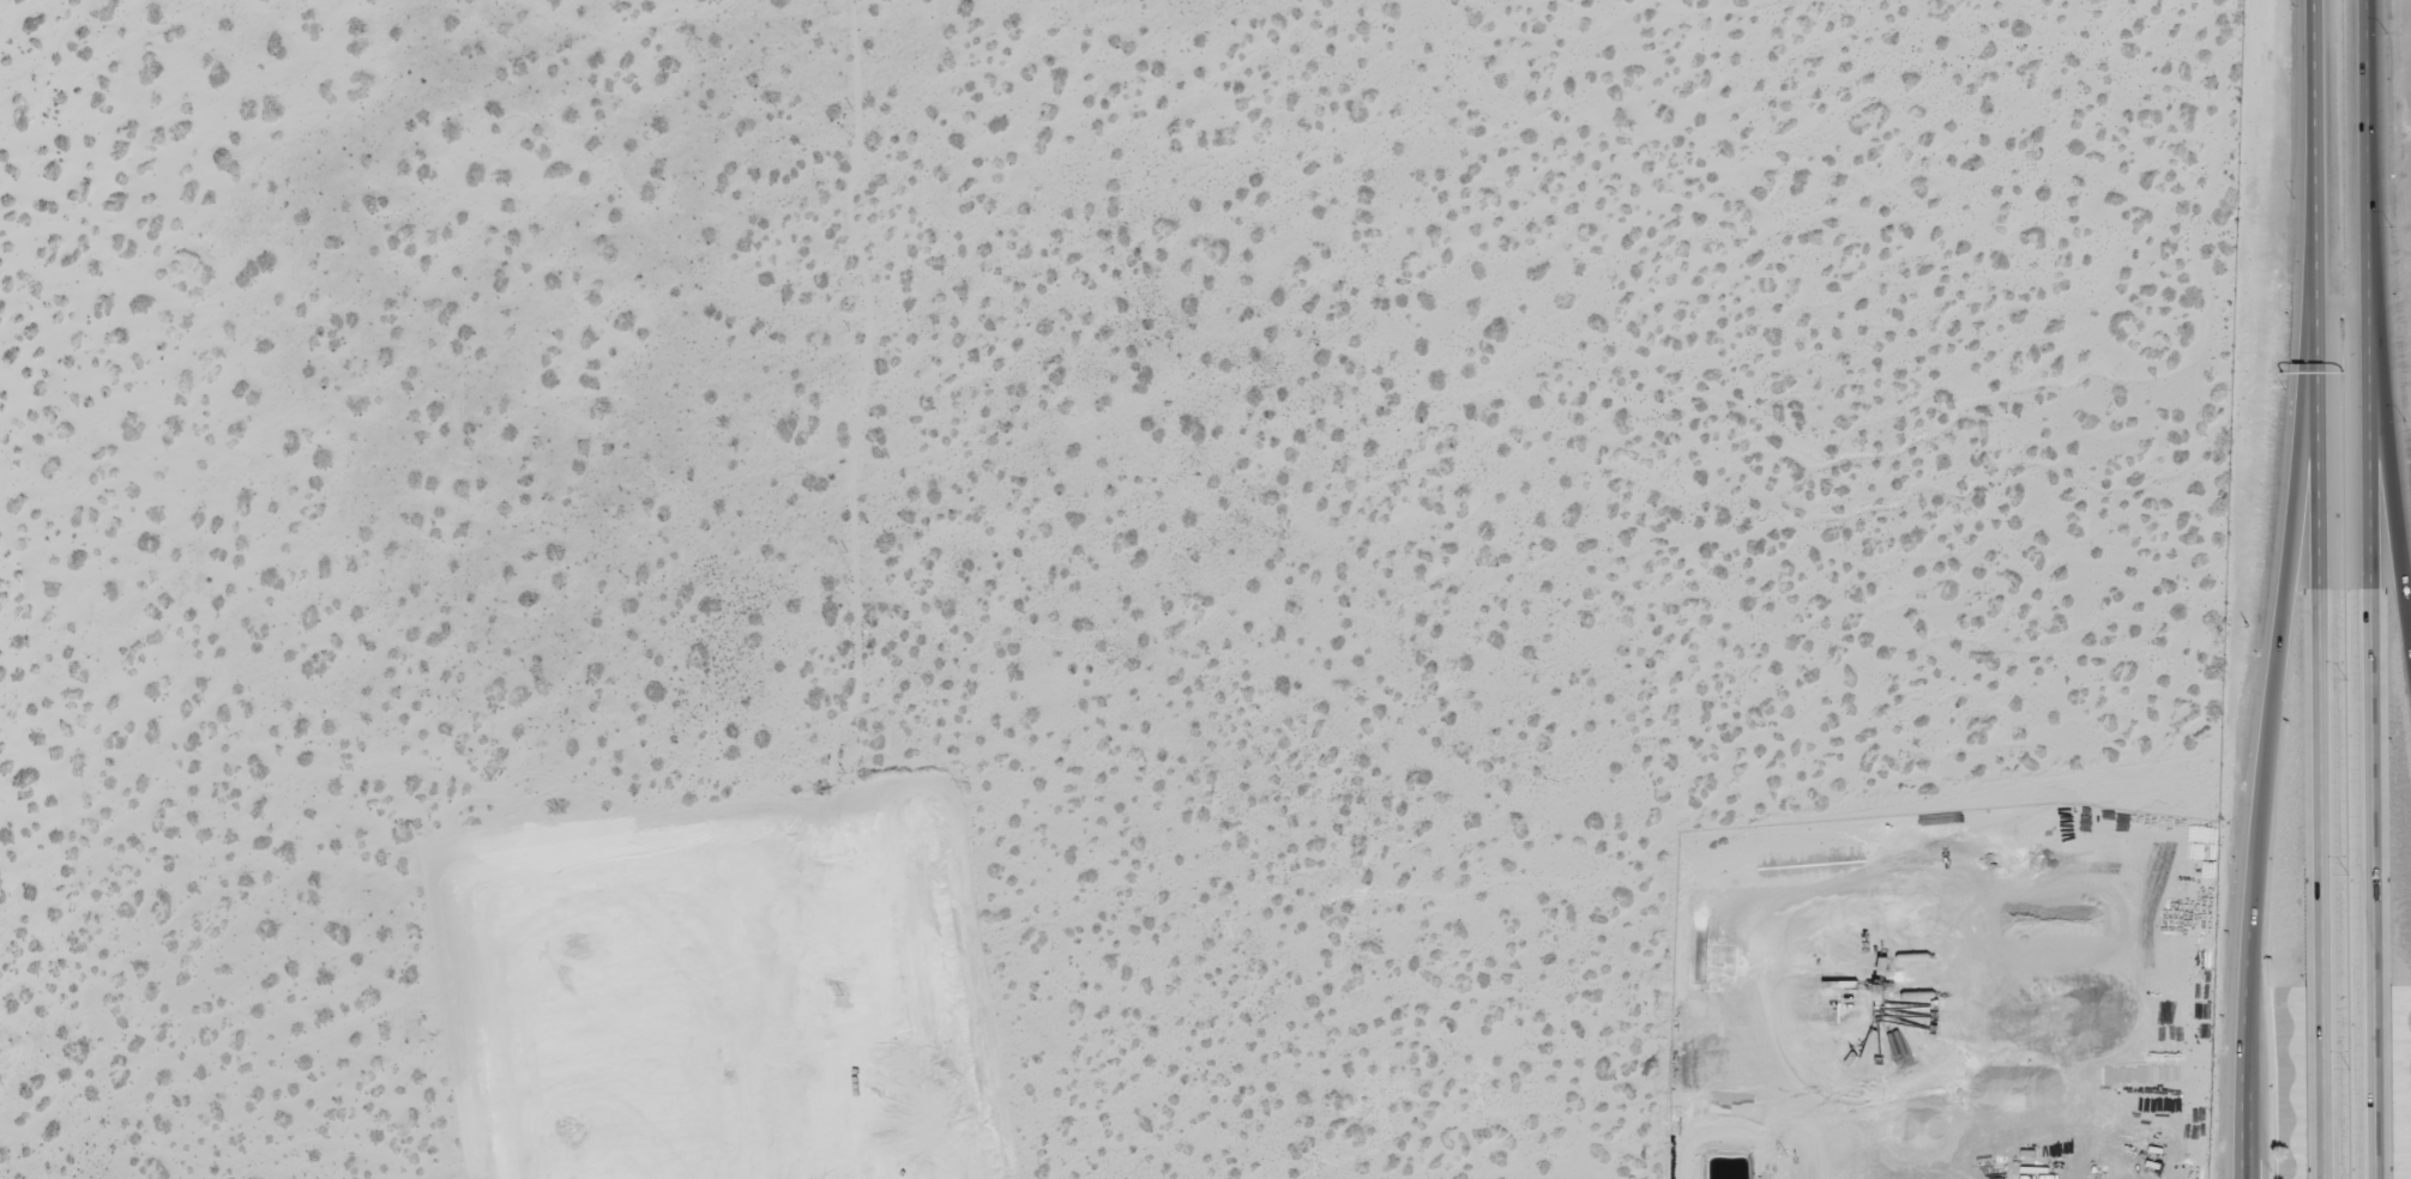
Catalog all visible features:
road: (2371, 156)
road: (2315, 157)
road: (2391, 462)
road: (2376, 745)
road: (2267, 746)
road: (2325, 746)

